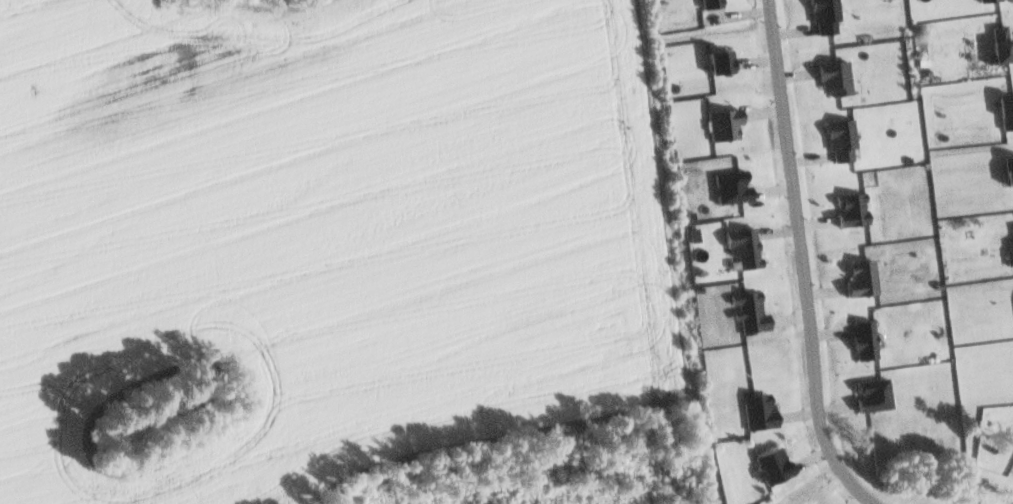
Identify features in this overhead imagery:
building: (989, 1)
building: (710, 4)
building: (826, 16)
building: (999, 46)
building: (721, 63)
building: (836, 78)
building: (1006, 113)
building: (724, 125)
building: (842, 140)
building: (1009, 171)
building: (733, 188)
building: (852, 211)
building: (1012, 226)
building: (744, 248)
building: (1009, 253)
road: (800, 262)
building: (862, 280)
building: (750, 312)
building: (865, 341)
building: (874, 394)
building: (759, 411)
building: (773, 465)

